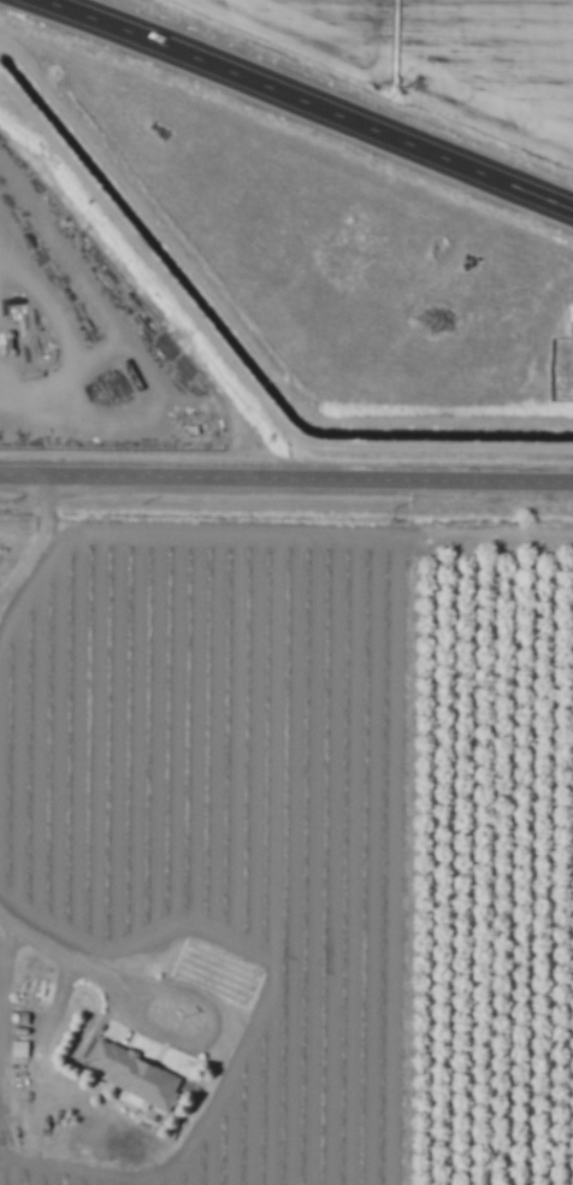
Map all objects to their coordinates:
road: (307, 101)
road: (285, 478)
road: (39, 542)
road: (61, 955)
building: (135, 1074)

